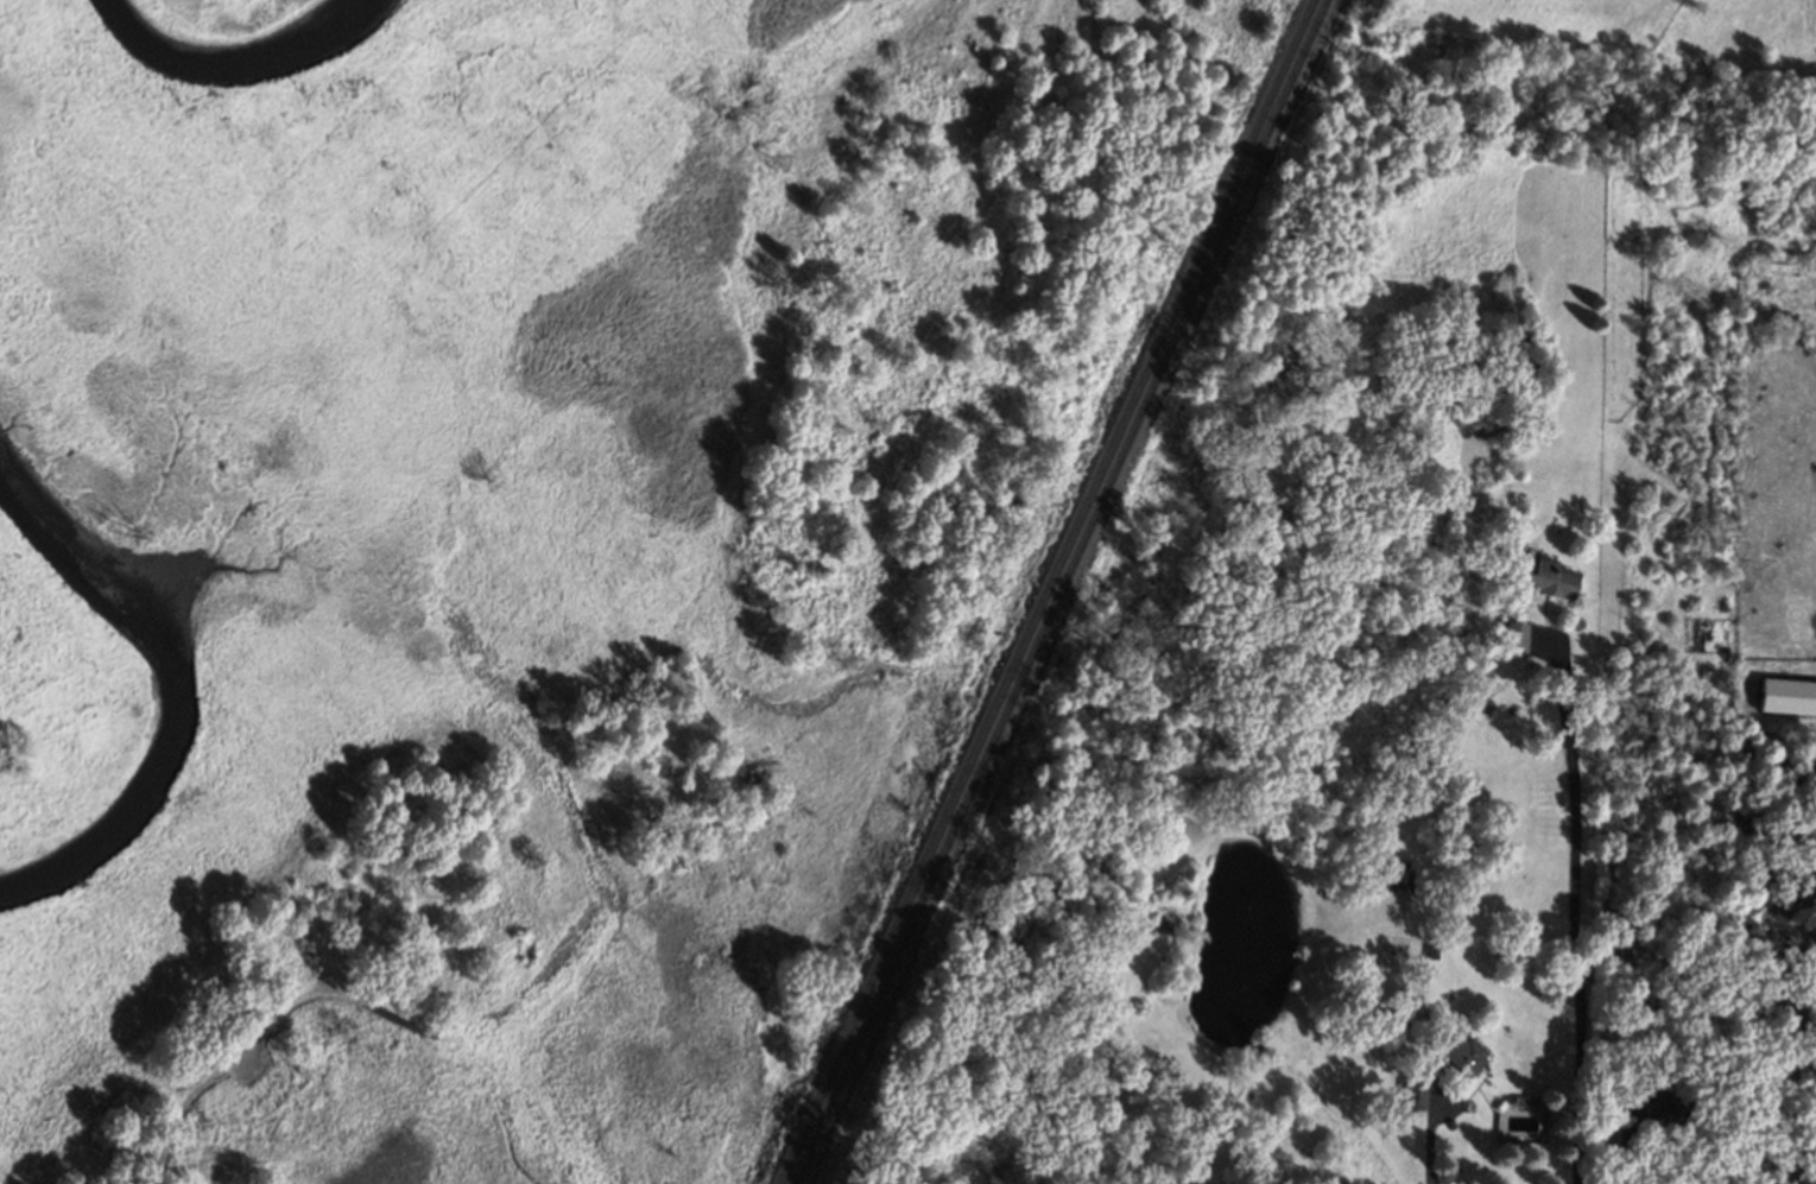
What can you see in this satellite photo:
river: (228, 62)
building: (1549, 577)
railway: (1048, 591)
railway: (1061, 591)
building: (1518, 638)
river: (184, 682)
building: (1789, 696)
road: (1573, 913)
building: (1466, 1052)
building: (1416, 1095)
building: (1650, 1102)
road: (1430, 1135)

